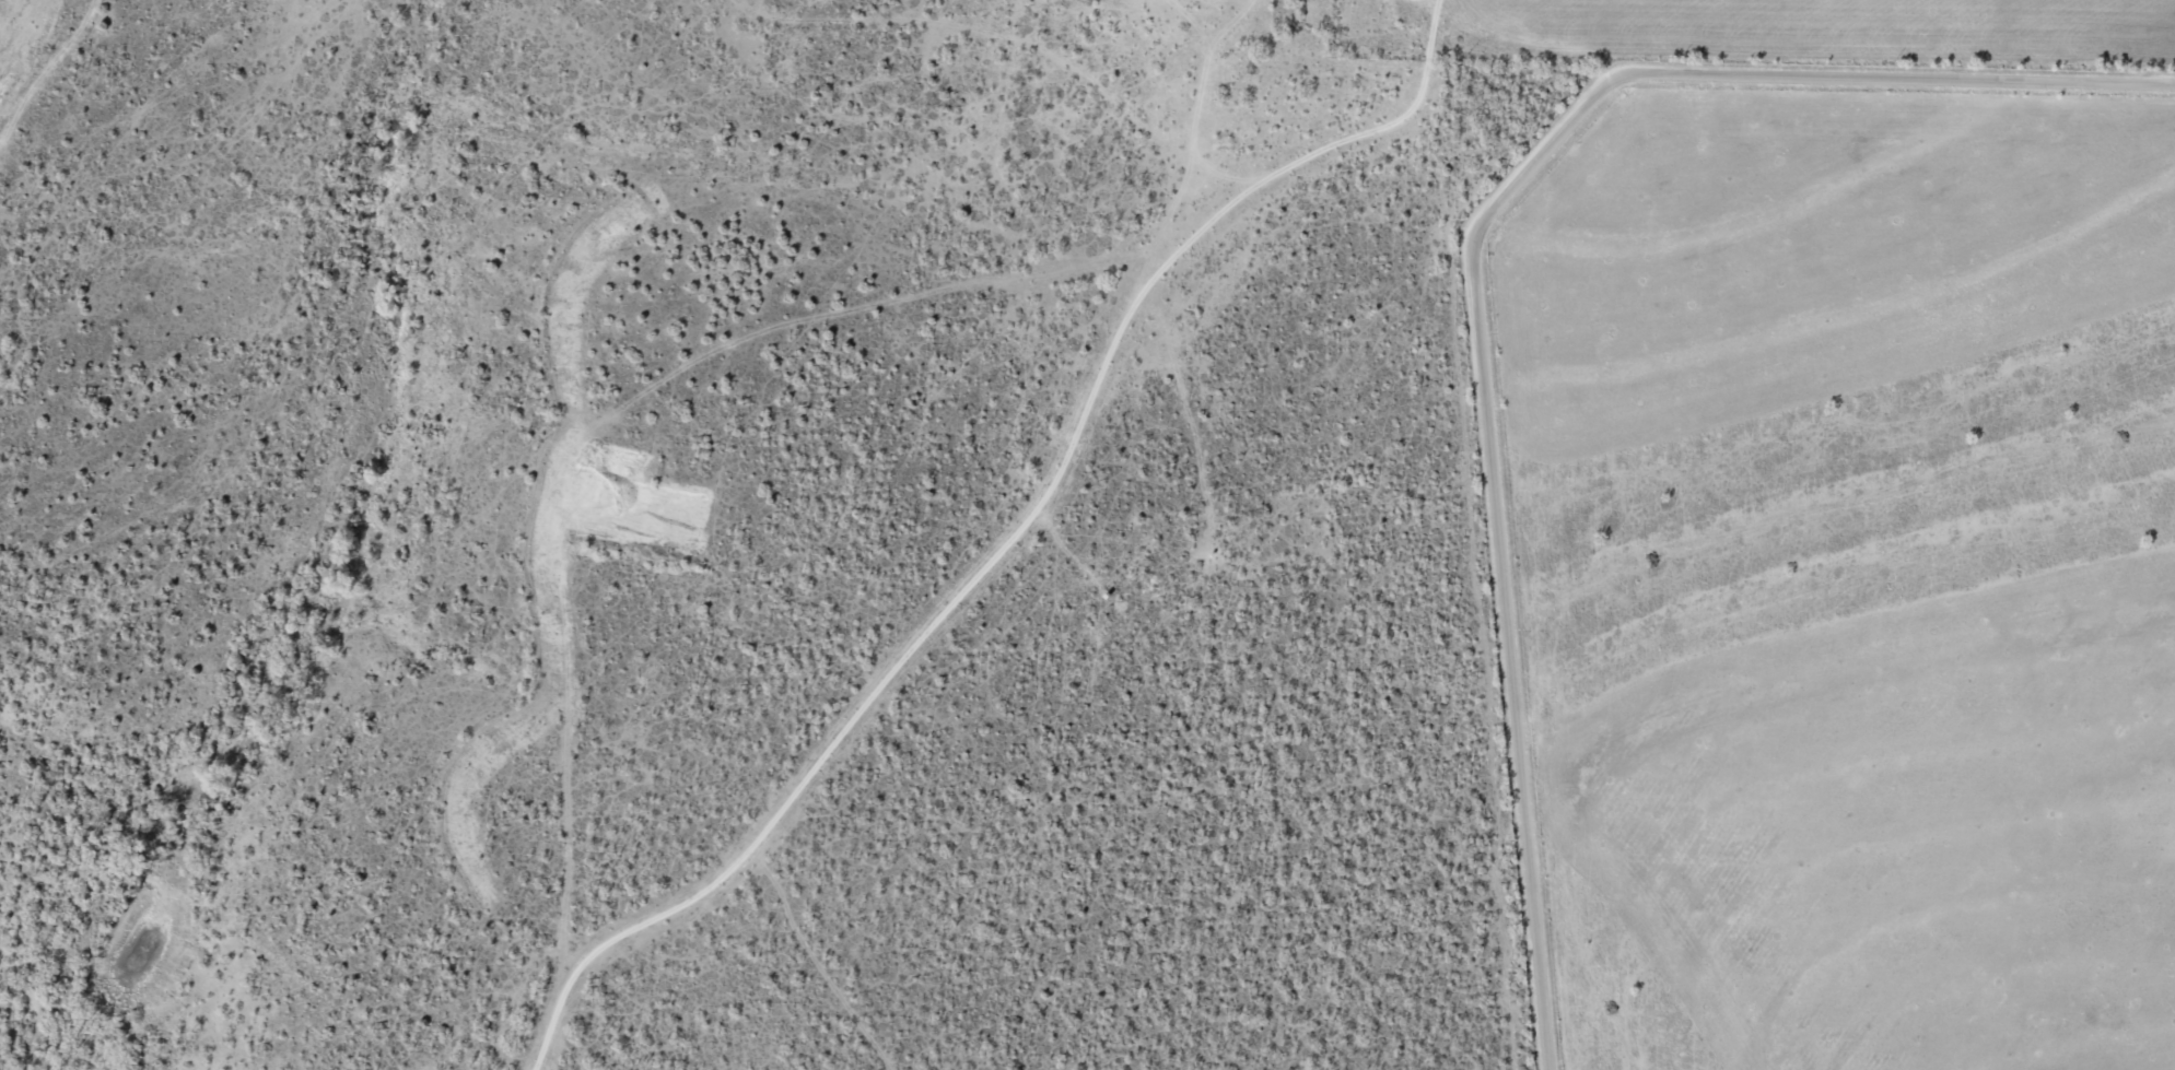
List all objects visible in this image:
road: (1518, 36)
road: (1897, 66)
road: (1533, 553)
road: (1029, 554)

